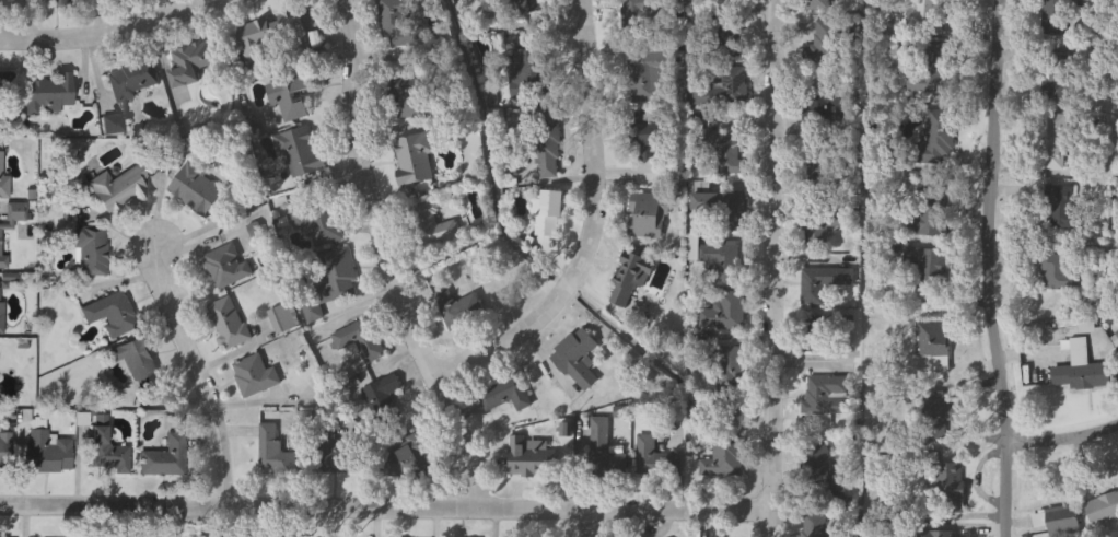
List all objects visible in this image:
building: (712, 0)
building: (13, 4)
building: (69, 4)
building: (528, 7)
building: (818, 7)
building: (642, 10)
building: (921, 15)
building: (1062, 16)
building: (398, 24)
road: (109, 33)
building: (276, 42)
building: (825, 45)
building: (191, 63)
building: (528, 71)
building: (935, 73)
building: (647, 74)
building: (1062, 78)
building: (133, 81)
building: (725, 90)
building: (49, 95)
building: (3, 96)
building: (406, 98)
building: (292, 101)
building: (822, 108)
building: (648, 136)
building: (935, 138)
building: (1058, 141)
building: (300, 153)
building: (726, 154)
building: (547, 159)
building: (414, 160)
building: (816, 171)
building: (1, 175)
building: (119, 188)
building: (196, 190)
building: (1062, 207)
building: (548, 212)
building: (733, 212)
building: (931, 212)
building: (648, 217)
building: (317, 222)
road: (594, 225)
building: (822, 225)
building: (429, 227)
building: (1, 244)
building: (93, 252)
building: (721, 259)
road: (388, 264)
building: (226, 266)
building: (929, 266)
road: (772, 268)
road: (988, 269)
building: (1060, 271)
building: (628, 280)
building: (823, 282)
building: (333, 283)
building: (1, 310)
building: (455, 310)
building: (723, 313)
building: (110, 314)
building: (228, 323)
building: (1117, 334)
building: (820, 335)
building: (934, 341)
building: (365, 346)
building: (575, 359)
building: (138, 363)
building: (730, 370)
building: (1082, 373)
road: (199, 375)
building: (255, 376)
building: (505, 395)
building: (827, 396)
building: (383, 399)
building: (935, 413)
road: (1063, 437)
building: (599, 443)
building: (5, 453)
building: (47, 453)
building: (275, 453)
building: (108, 454)
building: (531, 456)
building: (335, 457)
building: (166, 458)
building: (723, 458)
building: (408, 459)
building: (654, 459)
building: (820, 471)
building: (952, 480)
building: (1103, 507)
road: (387, 512)
road: (590, 525)
building: (1059, 525)
building: (816, 526)
building: (942, 534)

